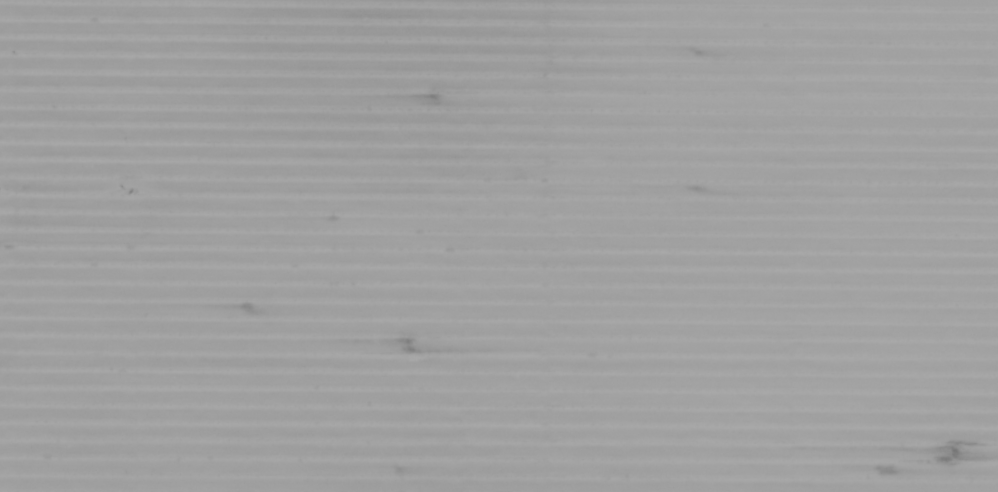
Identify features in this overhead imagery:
crop: (499, 246)

